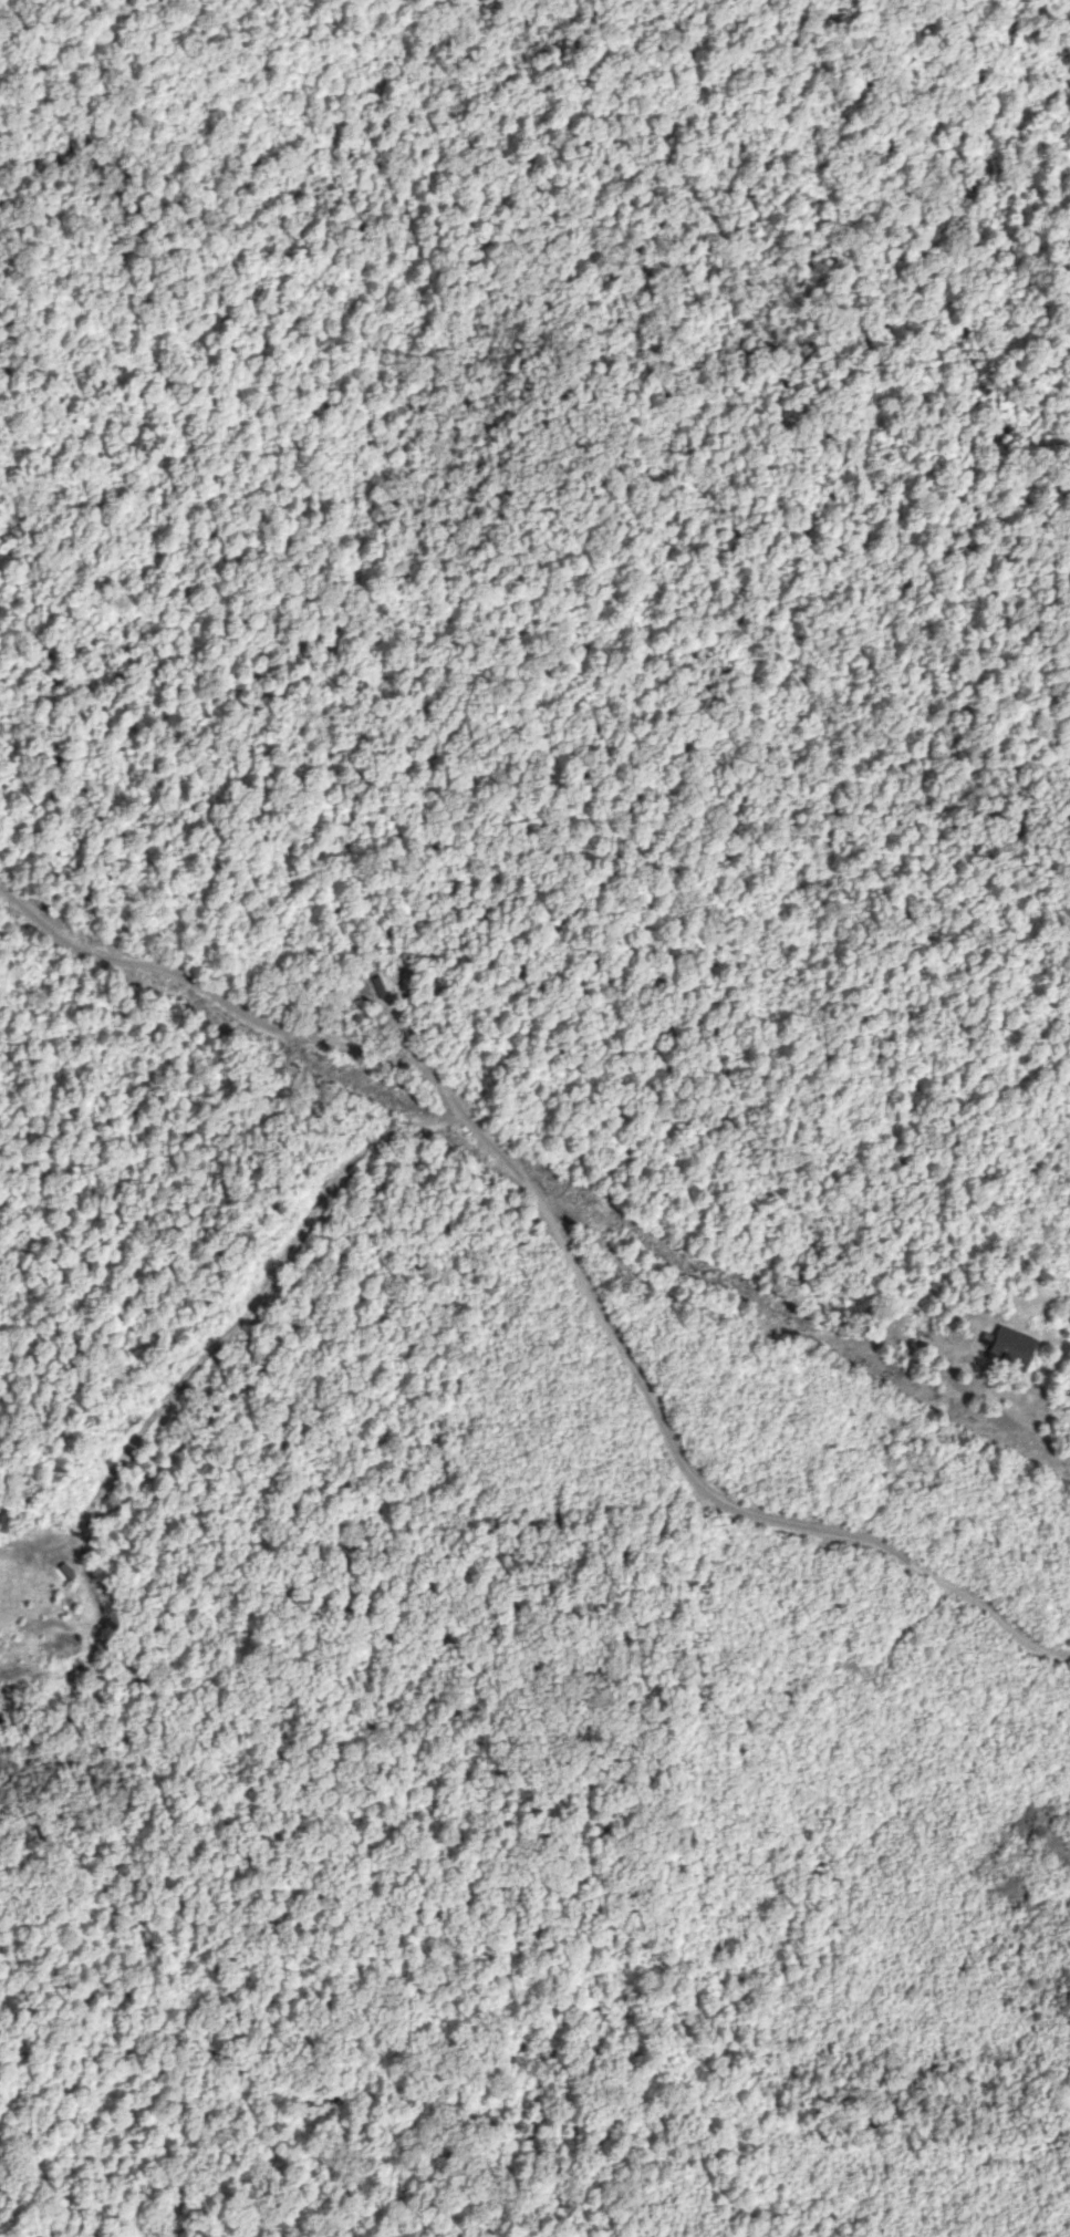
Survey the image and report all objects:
building: (1011, 1347)

